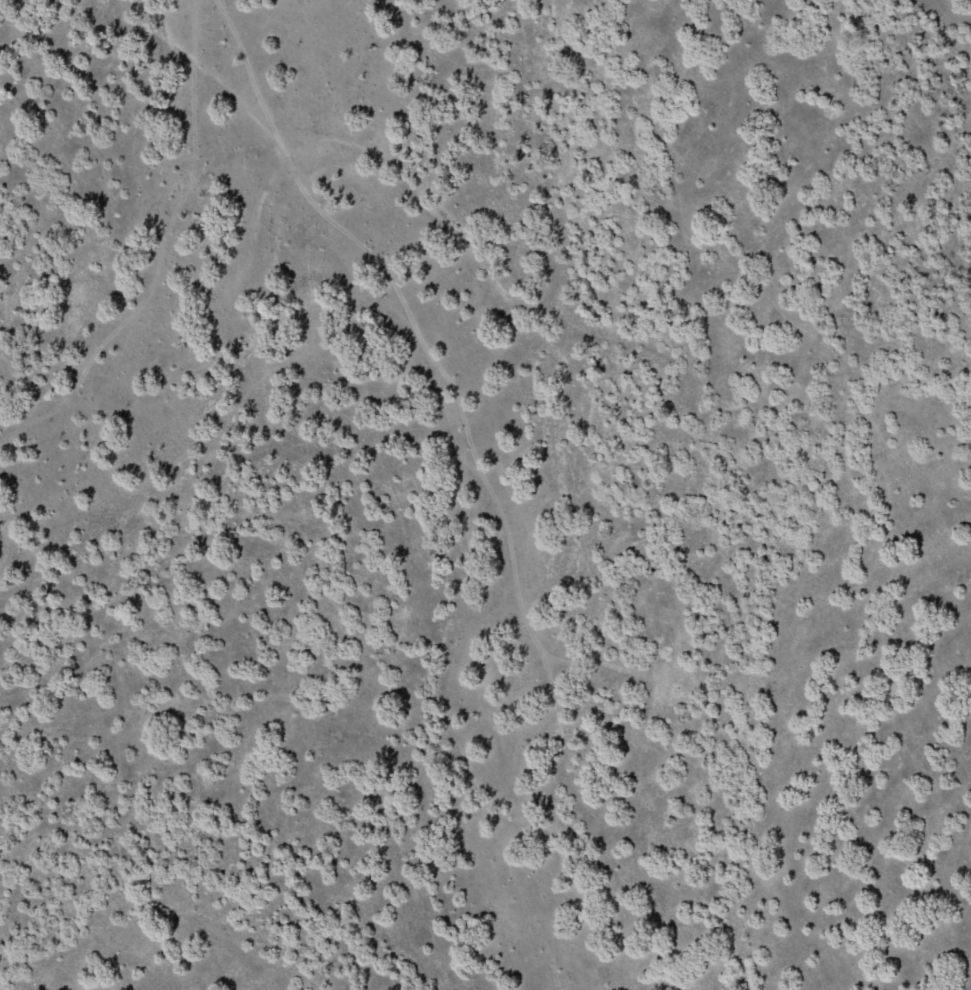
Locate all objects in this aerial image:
road: (470, 368)

